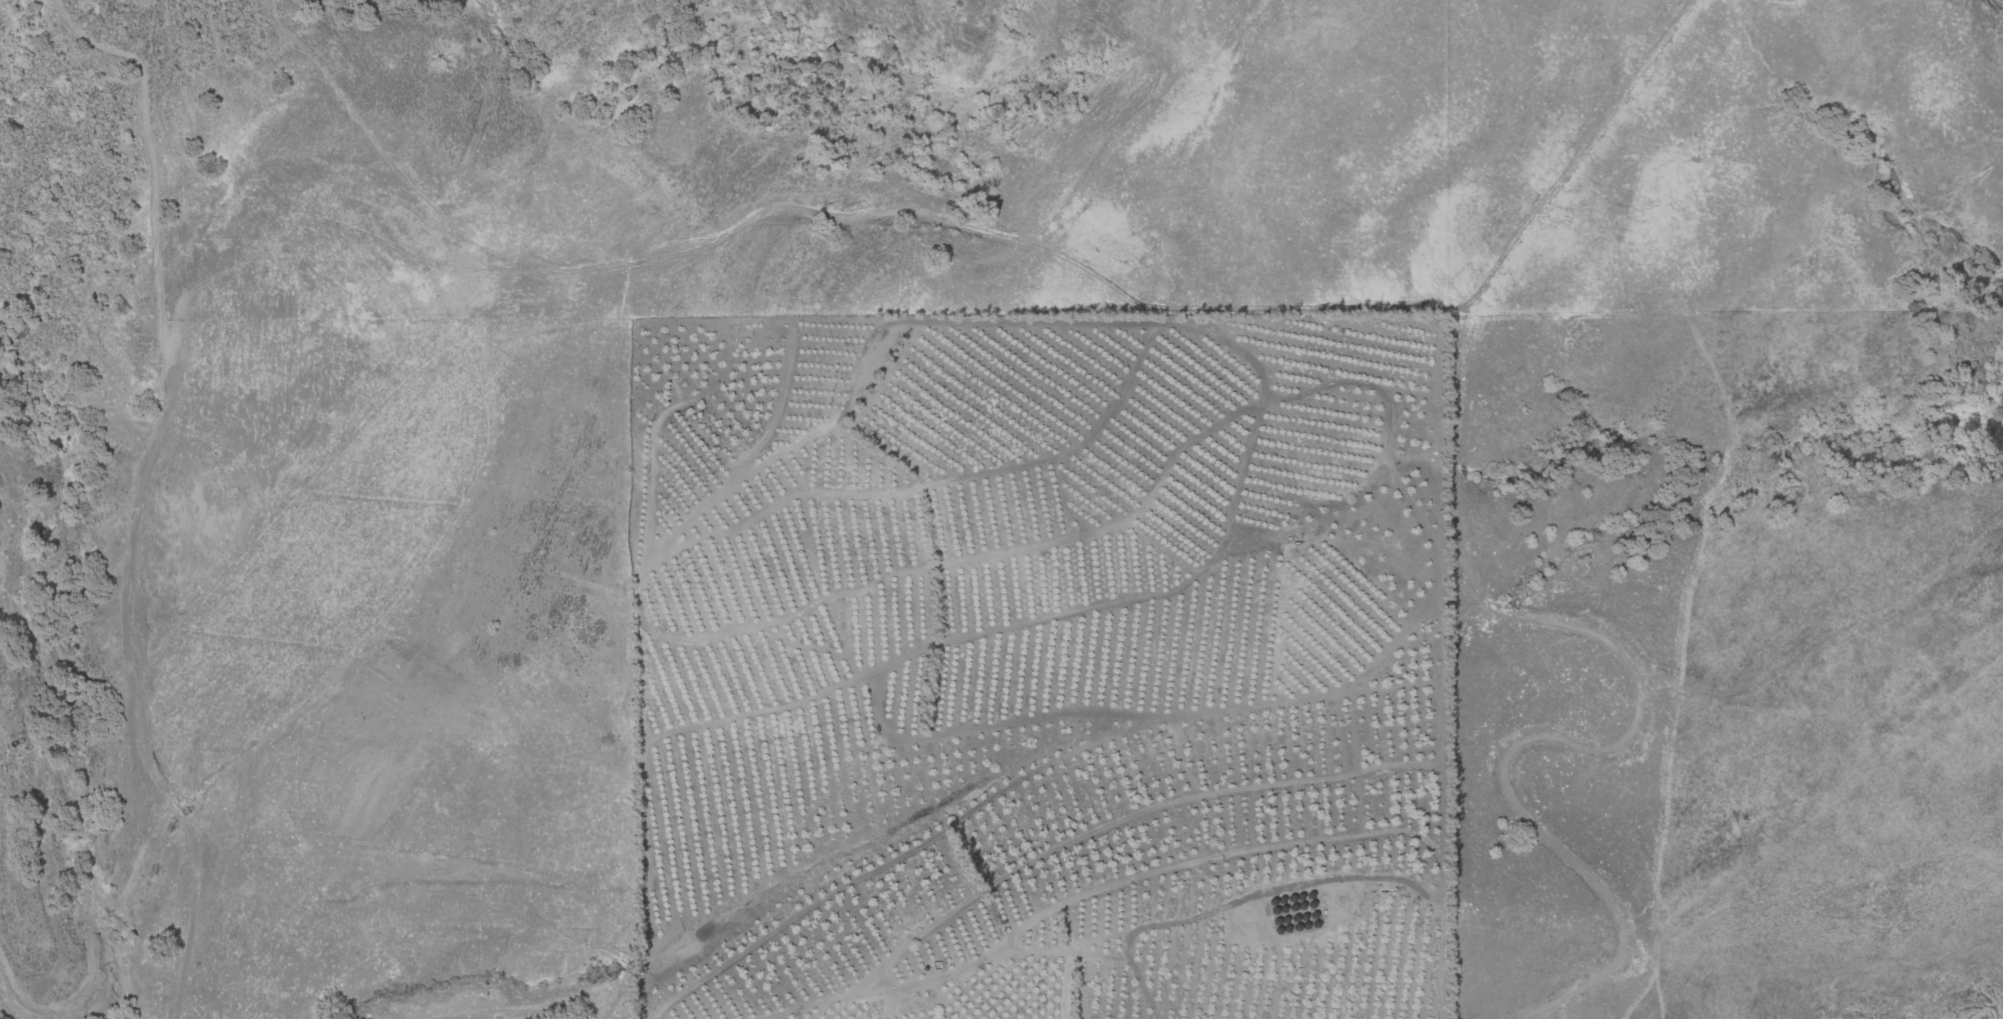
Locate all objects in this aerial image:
road: (1507, 615)
road: (129, 712)
road: (92, 929)

